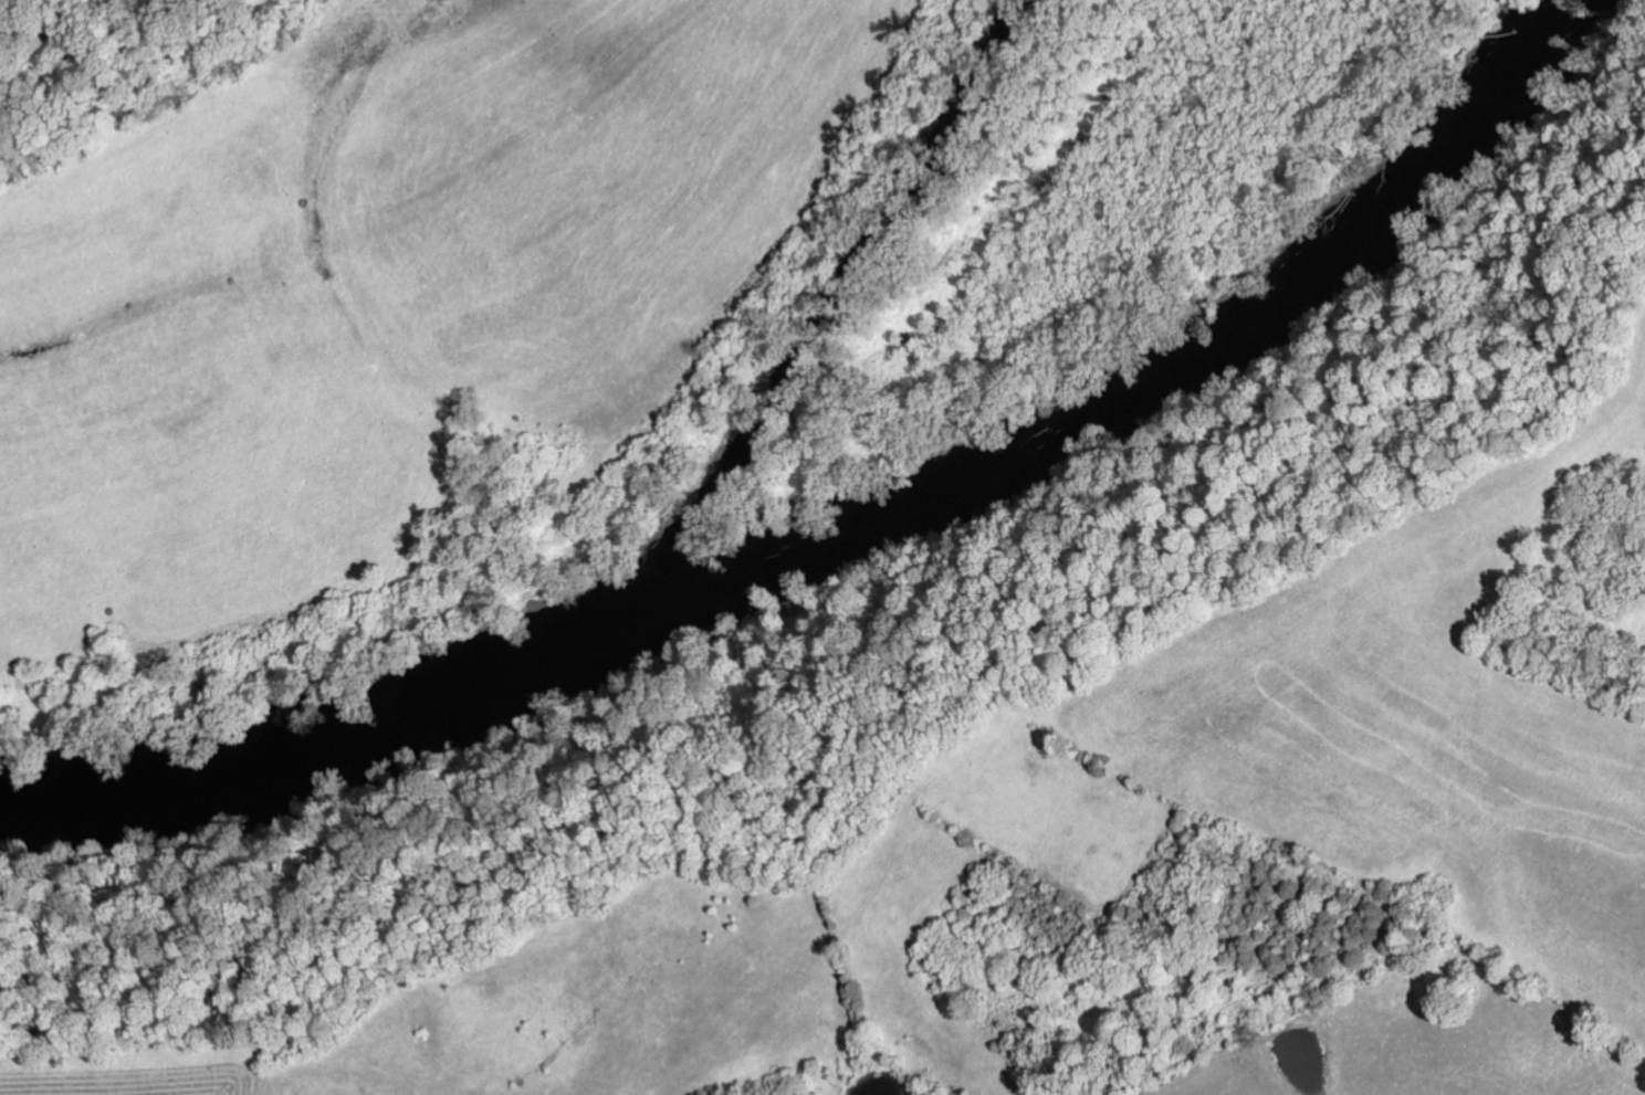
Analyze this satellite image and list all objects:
river: (878, 555)

